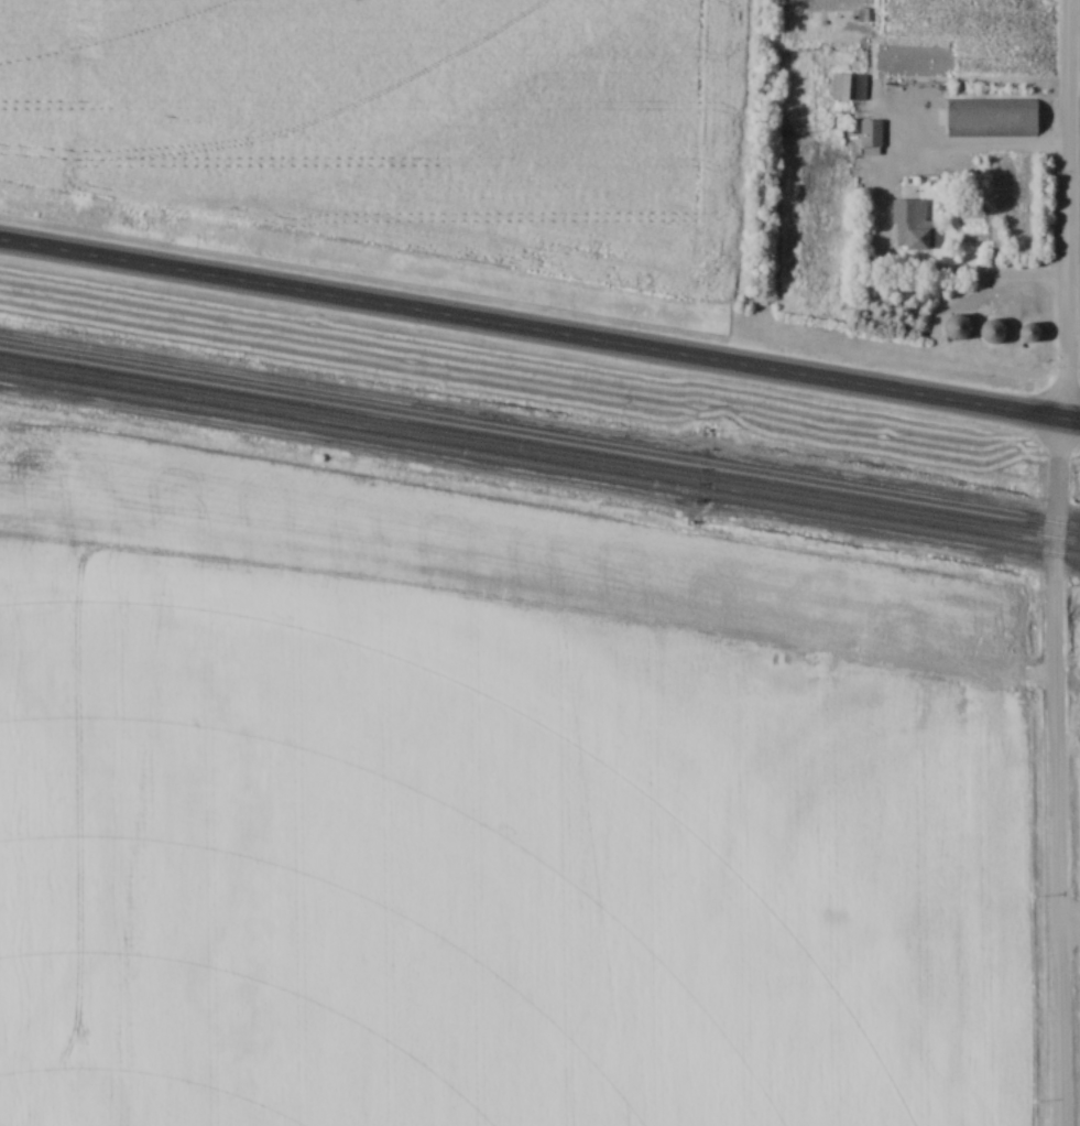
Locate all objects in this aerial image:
building: (848, 87)
building: (992, 117)
building: (912, 226)
road: (954, 273)
building: (957, 327)
road: (539, 328)
building: (991, 331)
railway: (539, 433)
railway: (539, 450)
railway: (539, 463)
road: (1052, 562)
road: (1066, 930)

